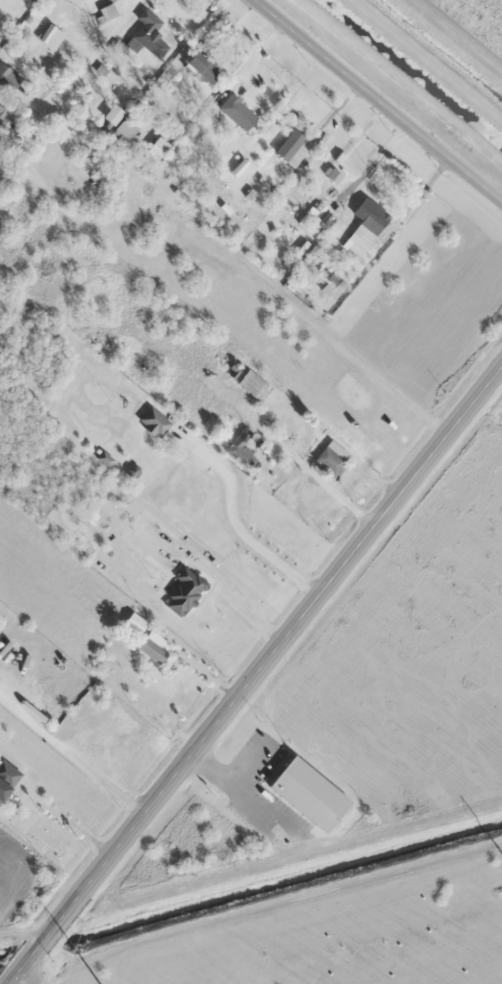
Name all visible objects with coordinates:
building: (111, 0)
building: (105, 12)
building: (149, 34)
road: (44, 52)
building: (201, 69)
road: (380, 99)
building: (237, 112)
building: (112, 115)
building: (123, 130)
building: (292, 148)
building: (155, 150)
building: (372, 220)
building: (327, 278)
building: (253, 385)
building: (154, 422)
building: (240, 449)
building: (328, 462)
building: (184, 592)
building: (149, 641)
road: (256, 679)
building: (3, 789)
building: (306, 793)
road: (8, 975)
road: (23, 979)

